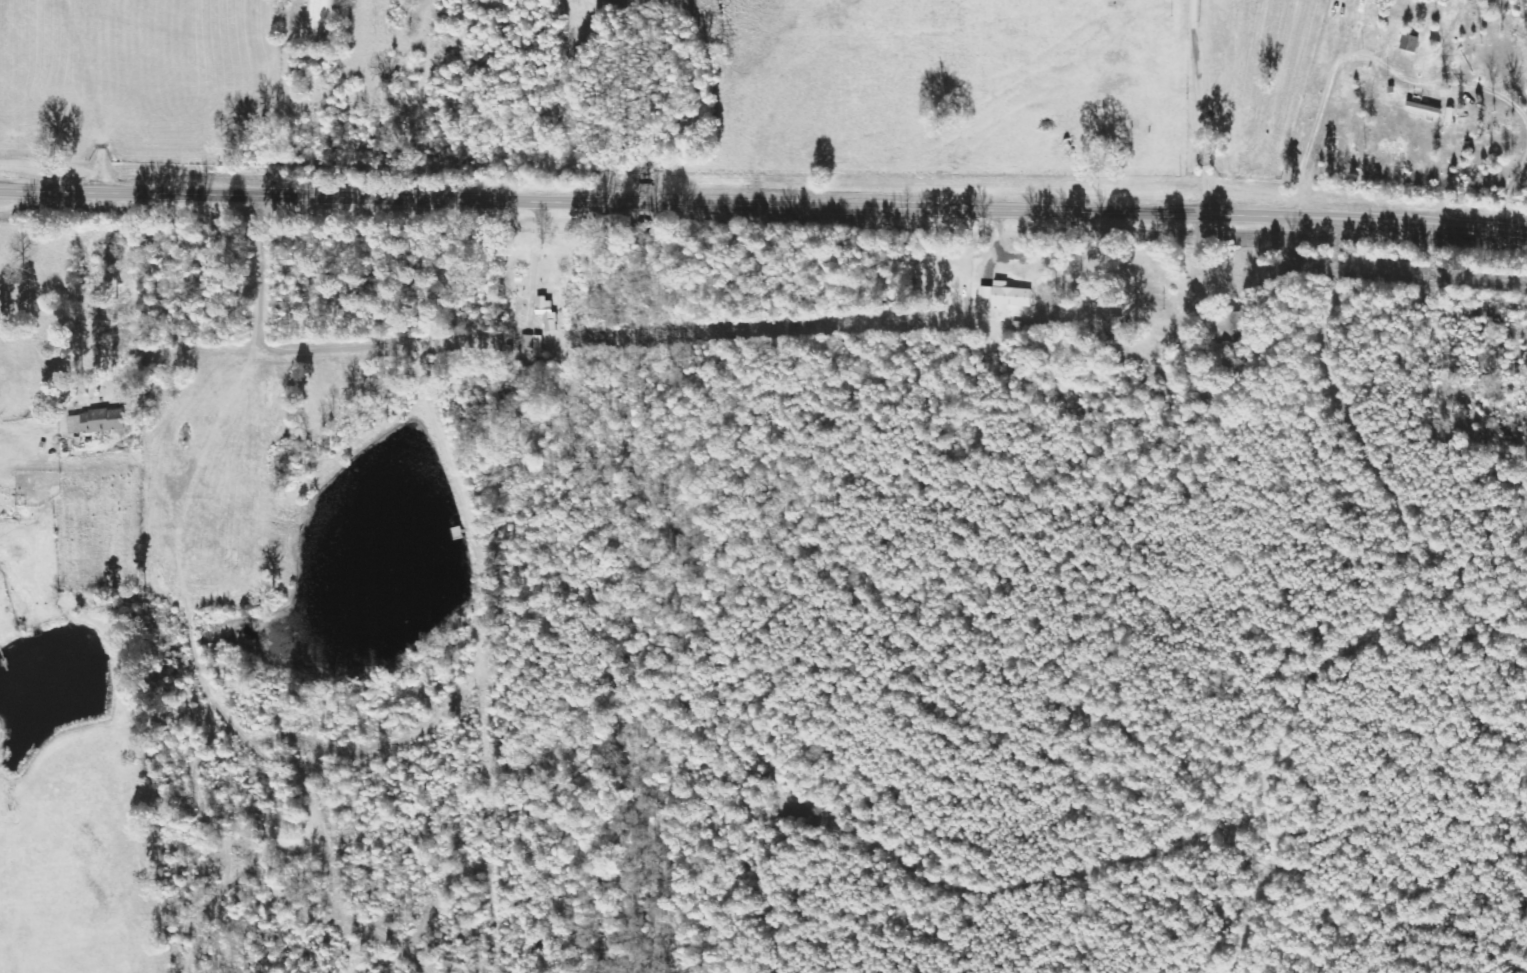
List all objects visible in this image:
building: (1409, 43)
road: (1199, 108)
road: (763, 208)
building: (1004, 295)
building: (546, 314)
building: (1228, 328)
road: (211, 354)
building: (94, 422)

